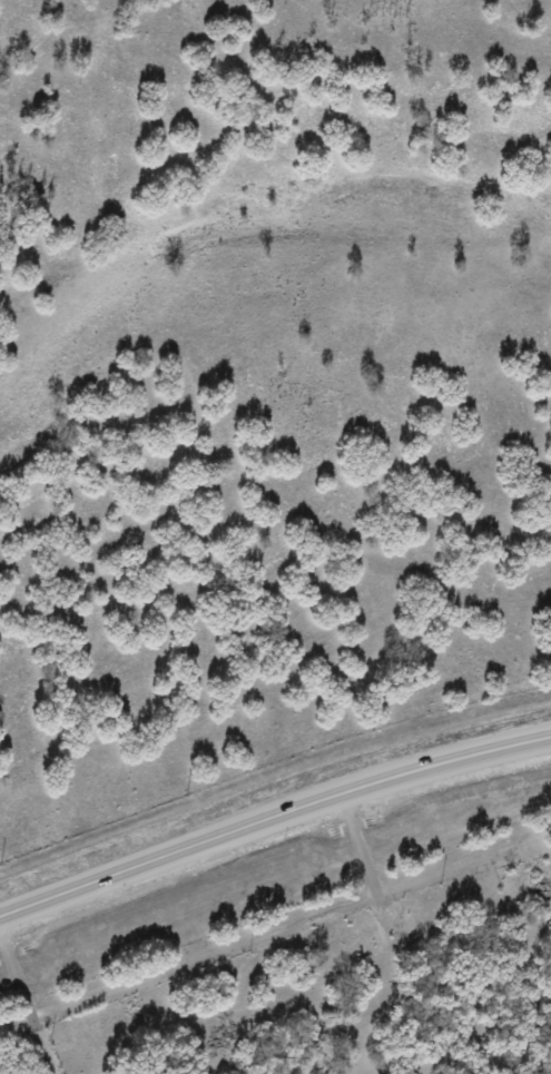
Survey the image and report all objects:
road: (272, 812)
road: (26, 1007)

